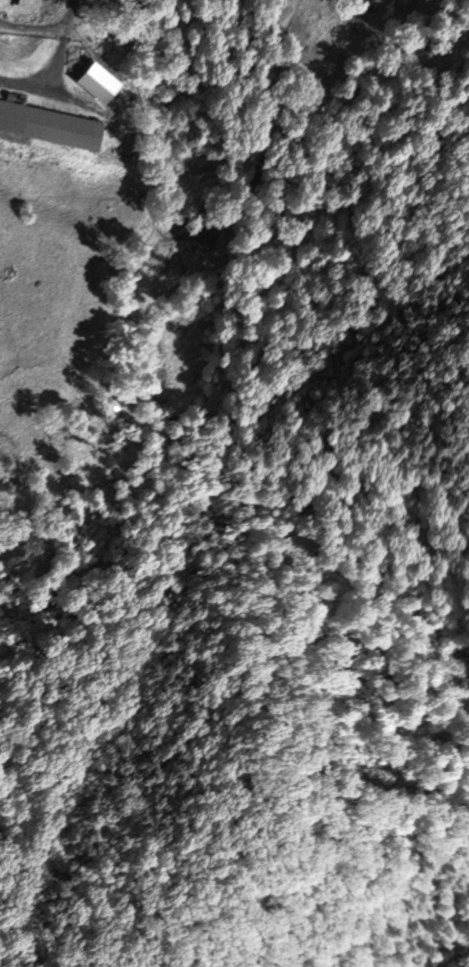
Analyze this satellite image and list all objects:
road: (63, 39)
road: (25, 84)
building: (50, 123)

